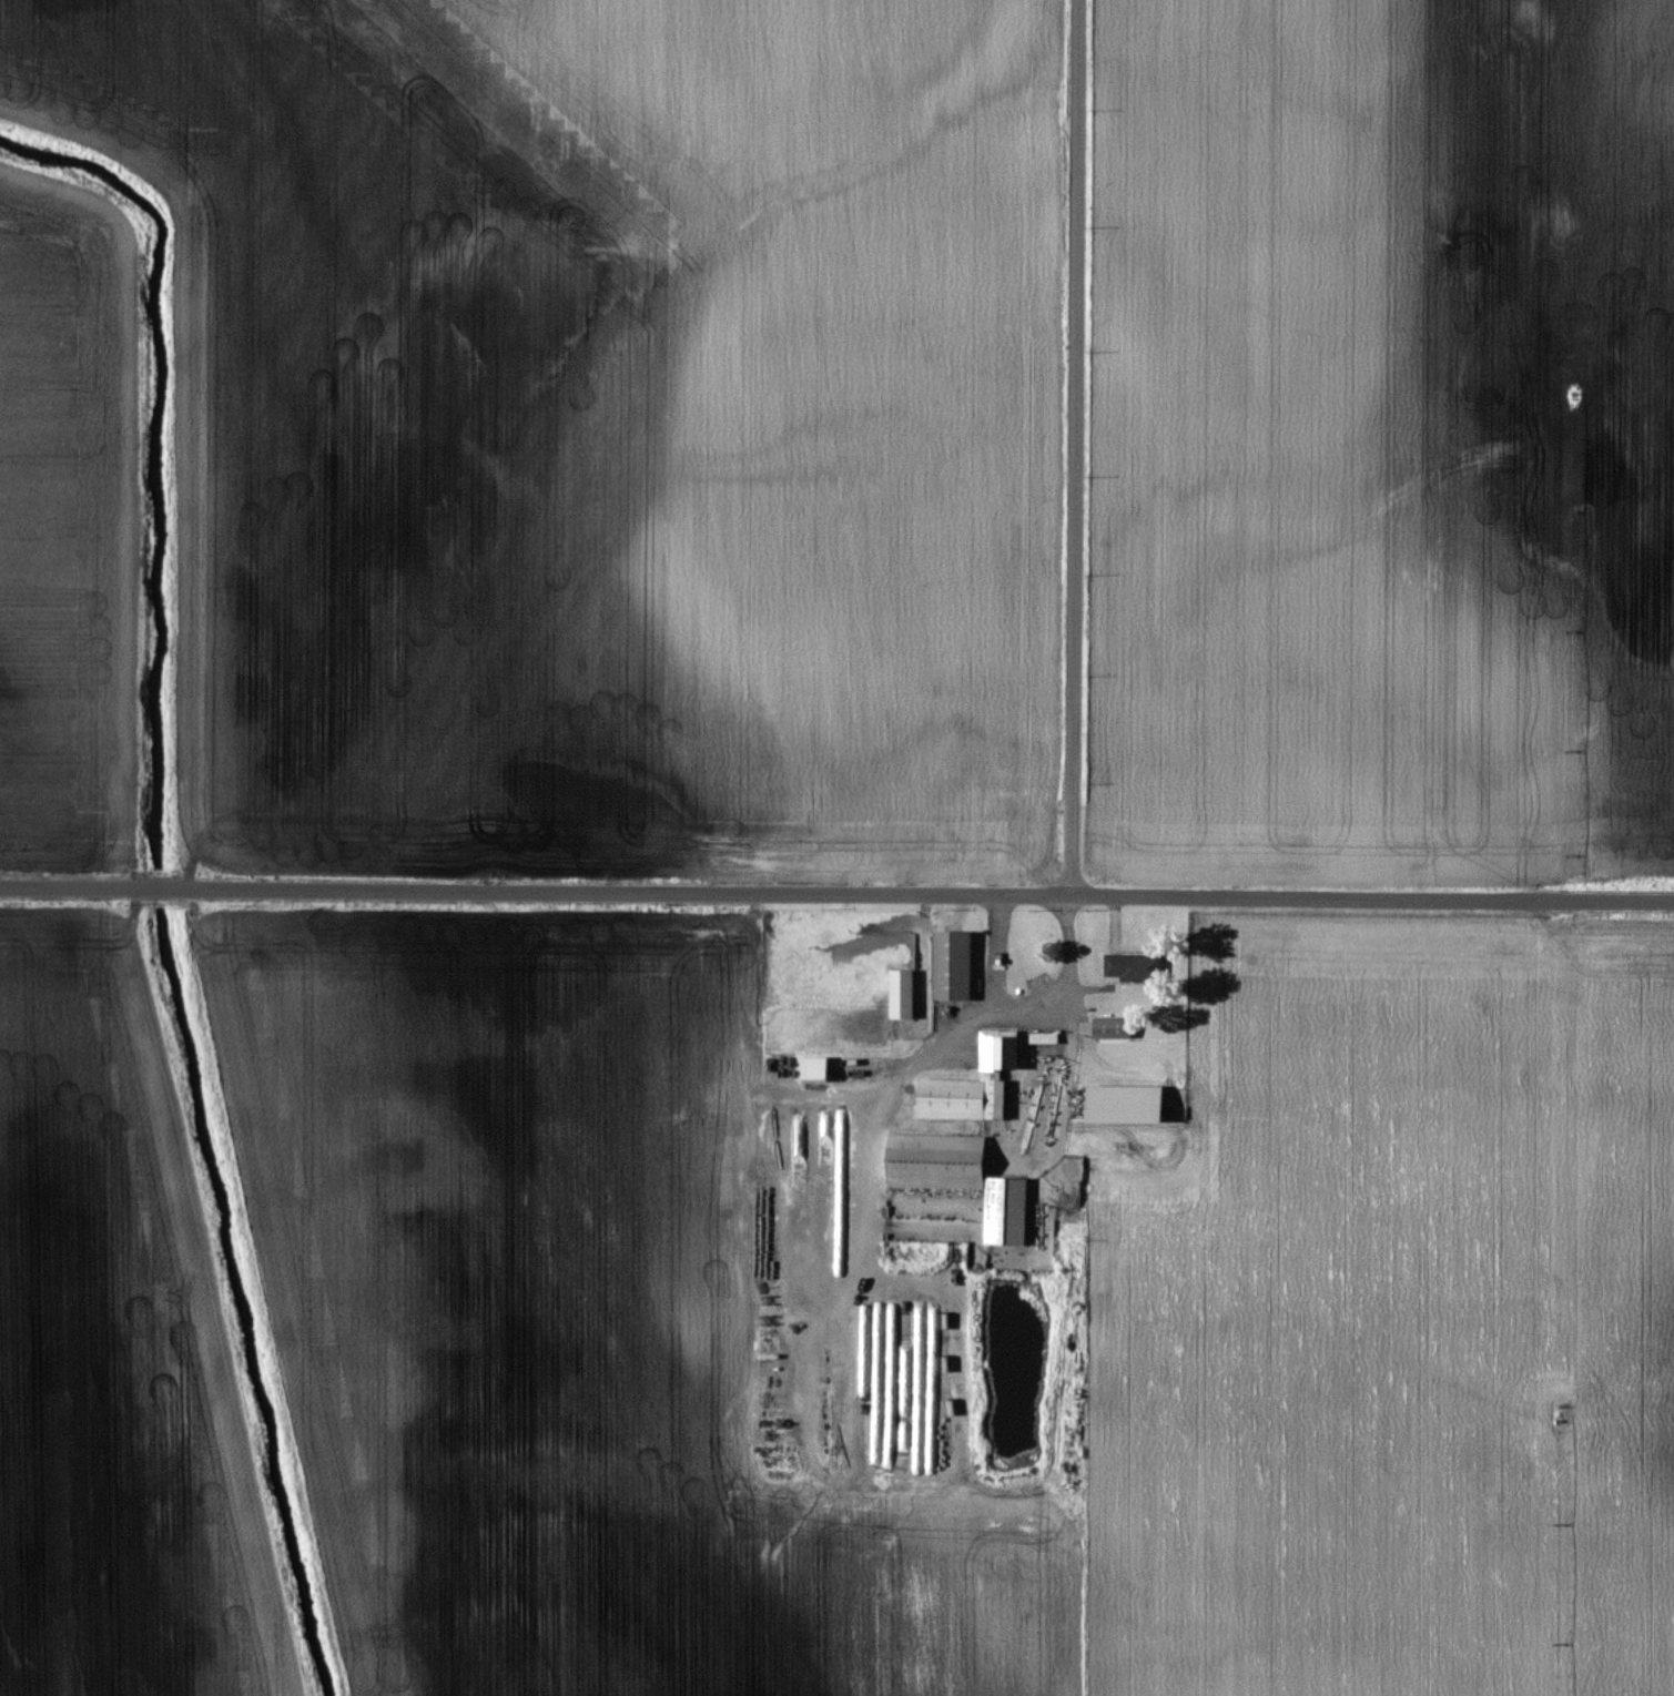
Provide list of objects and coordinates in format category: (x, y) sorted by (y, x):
road: (1069, 446)
road: (836, 891)
building: (951, 964)
building: (1132, 965)
building: (1006, 974)
building: (900, 994)
road: (1024, 1002)
building: (1112, 1027)
building: (998, 1050)
building: (814, 1068)
building: (961, 1098)
building: (1124, 1103)
building: (958, 1177)

